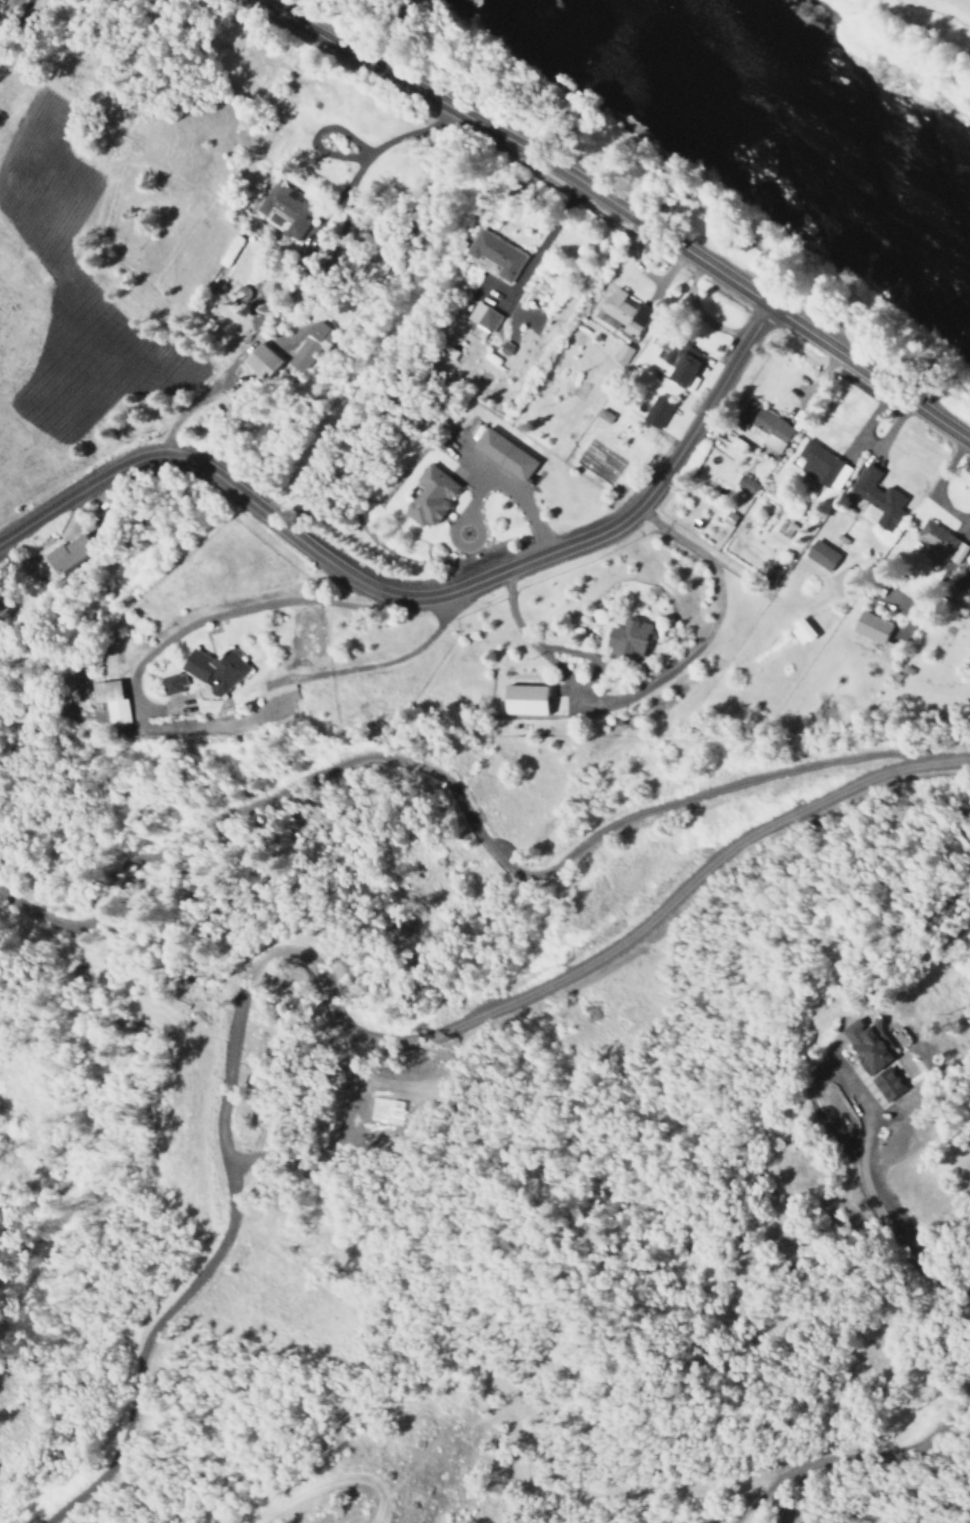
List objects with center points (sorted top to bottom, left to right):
river: (780, 117)
road: (524, 145)
building: (284, 207)
building: (494, 253)
building: (625, 313)
building: (481, 319)
building: (309, 346)
building: (677, 359)
building: (259, 360)
road: (869, 371)
building: (655, 411)
building: (761, 421)
building: (771, 444)
building: (502, 453)
building: (820, 465)
building: (745, 484)
building: (428, 496)
building: (878, 497)
building: (939, 542)
building: (65, 552)
building: (819, 555)
building: (840, 580)
building: (963, 582)
road: (415, 591)
building: (799, 631)
building: (873, 632)
building: (626, 639)
building: (214, 670)
building: (171, 683)
building: (522, 699)
building: (110, 701)
road: (460, 801)
road: (325, 1005)
building: (884, 1062)
road: (827, 1069)
road: (900, 1247)
road: (769, 1480)
road: (329, 1483)

